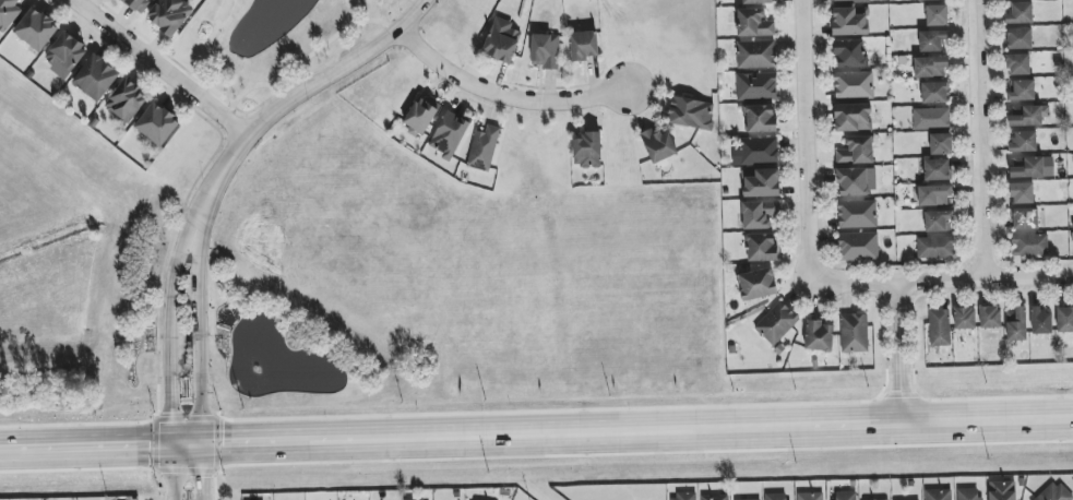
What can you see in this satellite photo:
building: (926, 0)
building: (756, 1)
building: (849, 1)
building: (134, 3)
building: (8, 13)
building: (1020, 13)
building: (169, 15)
building: (937, 15)
building: (850, 21)
road: (373, 22)
building: (753, 23)
building: (36, 29)
building: (1020, 38)
building: (501, 40)
building: (931, 40)
building: (584, 45)
building: (546, 50)
building: (849, 53)
building: (64, 55)
building: (755, 55)
building: (1018, 64)
road: (155, 67)
building: (930, 67)
building: (96, 78)
building: (854, 84)
building: (756, 86)
building: (1022, 90)
road: (242, 91)
building: (934, 93)
road: (501, 95)
road: (293, 98)
building: (127, 100)
road: (254, 106)
building: (691, 112)
building: (1028, 115)
building: (420, 116)
building: (853, 117)
building: (760, 118)
building: (931, 118)
road: (242, 123)
building: (157, 124)
building: (450, 134)
road: (803, 139)
road: (975, 140)
building: (1024, 141)
building: (941, 144)
building: (658, 145)
building: (484, 148)
building: (587, 150)
building: (756, 151)
building: (856, 151)
building: (1032, 167)
building: (937, 169)
building: (857, 181)
building: (761, 182)
building: (1022, 193)
building: (934, 195)
building: (759, 214)
building: (857, 214)
building: (1024, 218)
building: (938, 221)
building: (1029, 245)
building: (761, 247)
building: (858, 247)
building: (935, 247)
road: (943, 281)
building: (758, 284)
building: (990, 317)
building: (965, 318)
building: (1064, 320)
building: (1041, 321)
building: (777, 323)
building: (1016, 324)
road: (168, 325)
road: (198, 326)
building: (939, 328)
building: (855, 333)
building: (819, 336)
road: (896, 353)
fountain: (252, 364)
road: (961, 419)
road: (425, 432)
road: (169, 468)
road: (200, 468)
building: (1002, 490)
building: (1054, 492)
building: (968, 493)
building: (938, 495)
building: (810, 496)
building: (844, 496)
building: (683, 497)
building: (715, 497)
building: (777, 497)
building: (751, 499)

